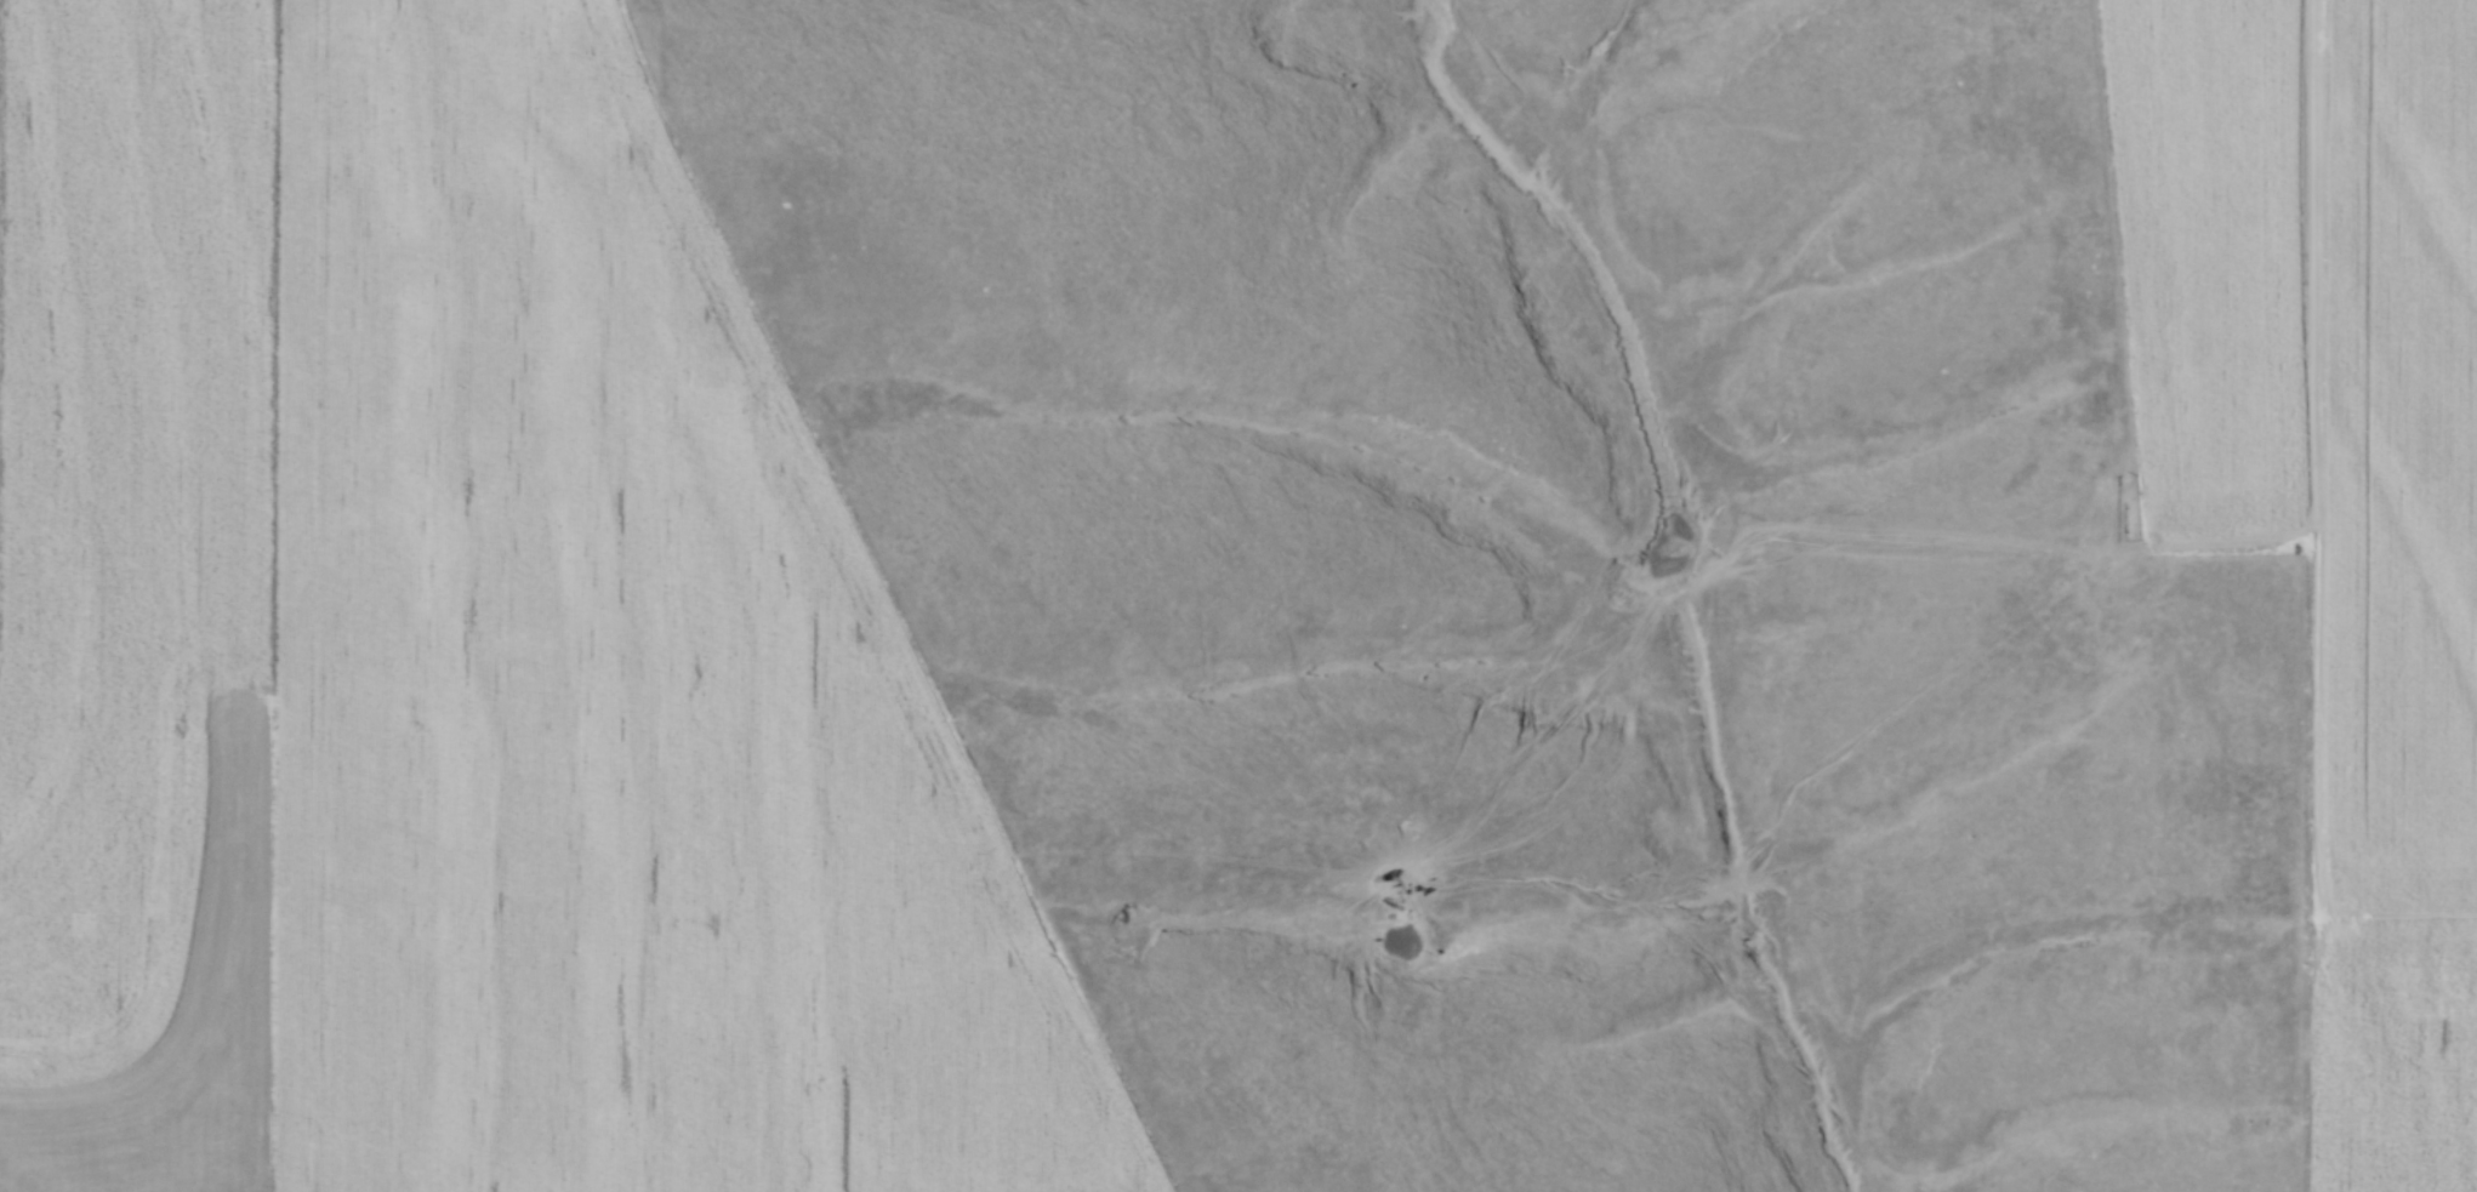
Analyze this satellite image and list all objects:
crop: (2210, 249)
crop: (2403, 454)
crop: (2396, 1045)

